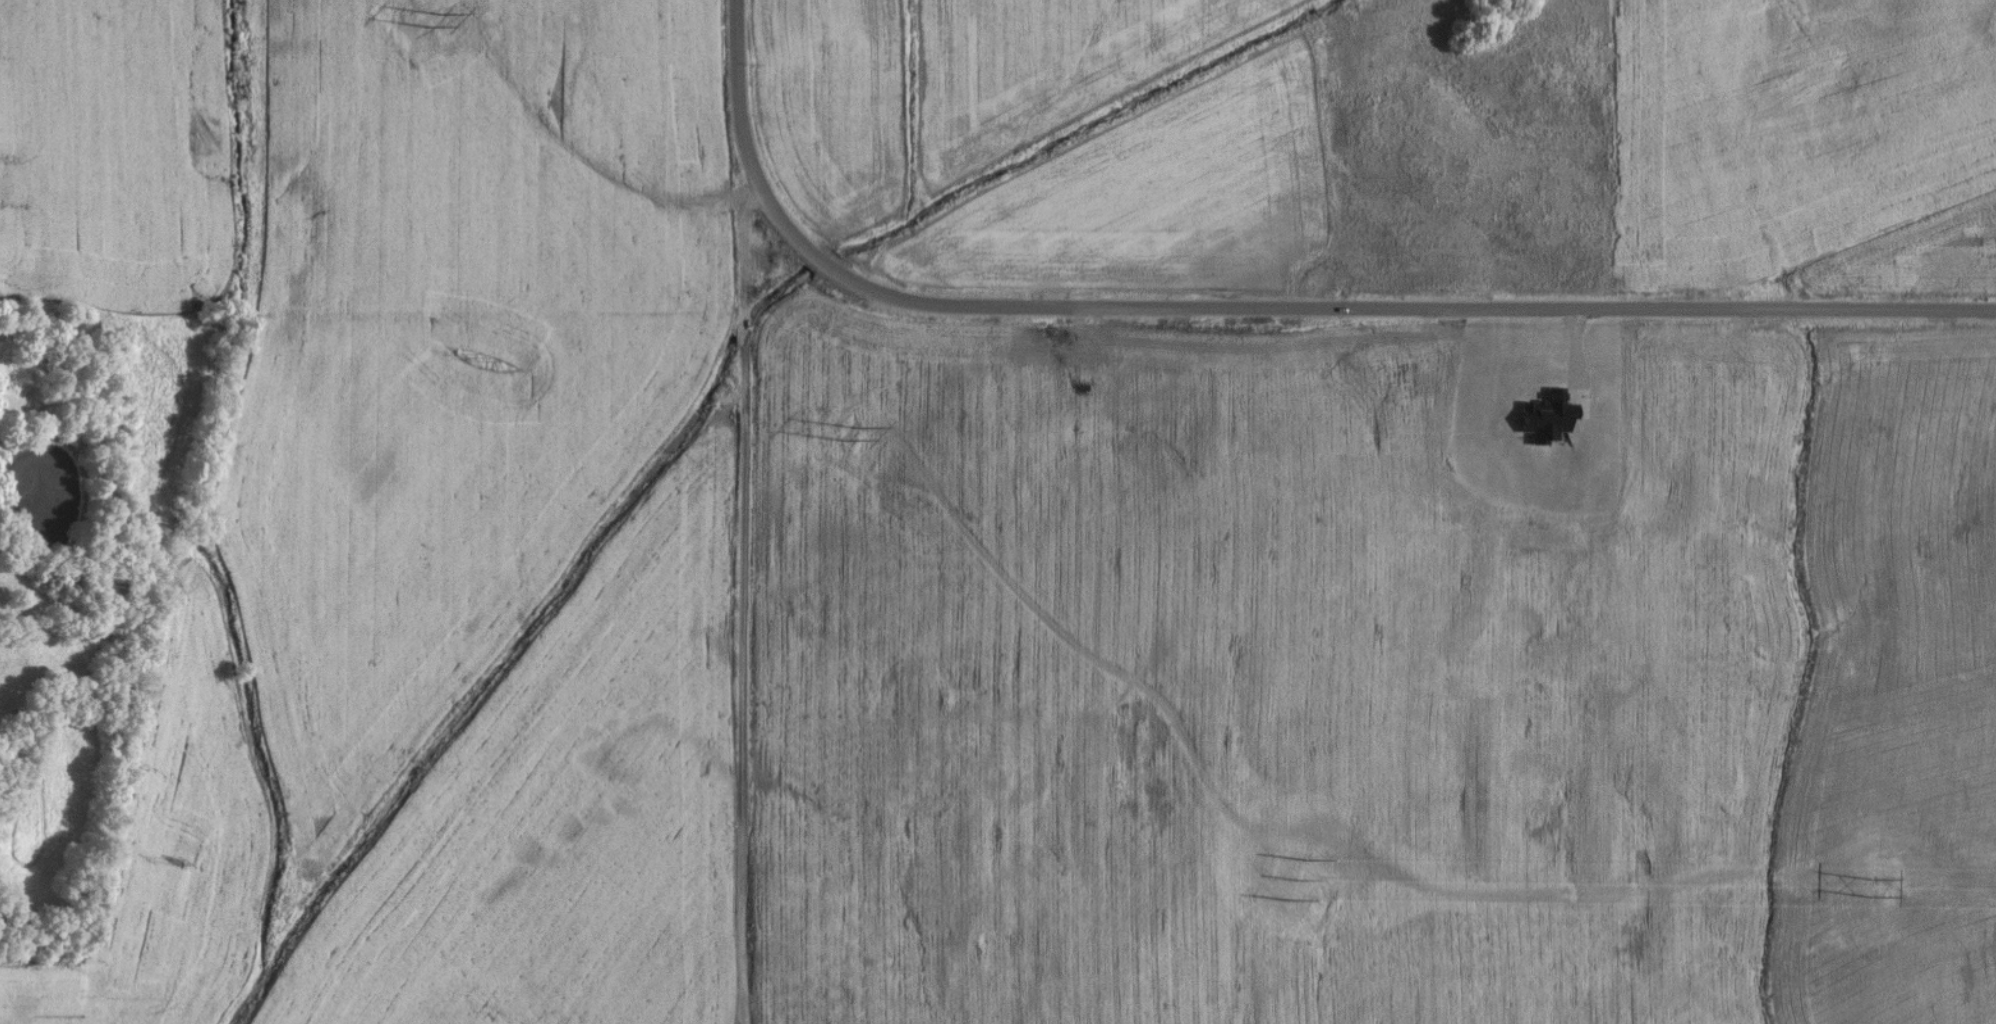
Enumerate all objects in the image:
power tower: (446, 22)
road: (758, 304)
road: (1260, 308)
power tower: (869, 434)
power tower: (1293, 881)
power tower: (1879, 886)

